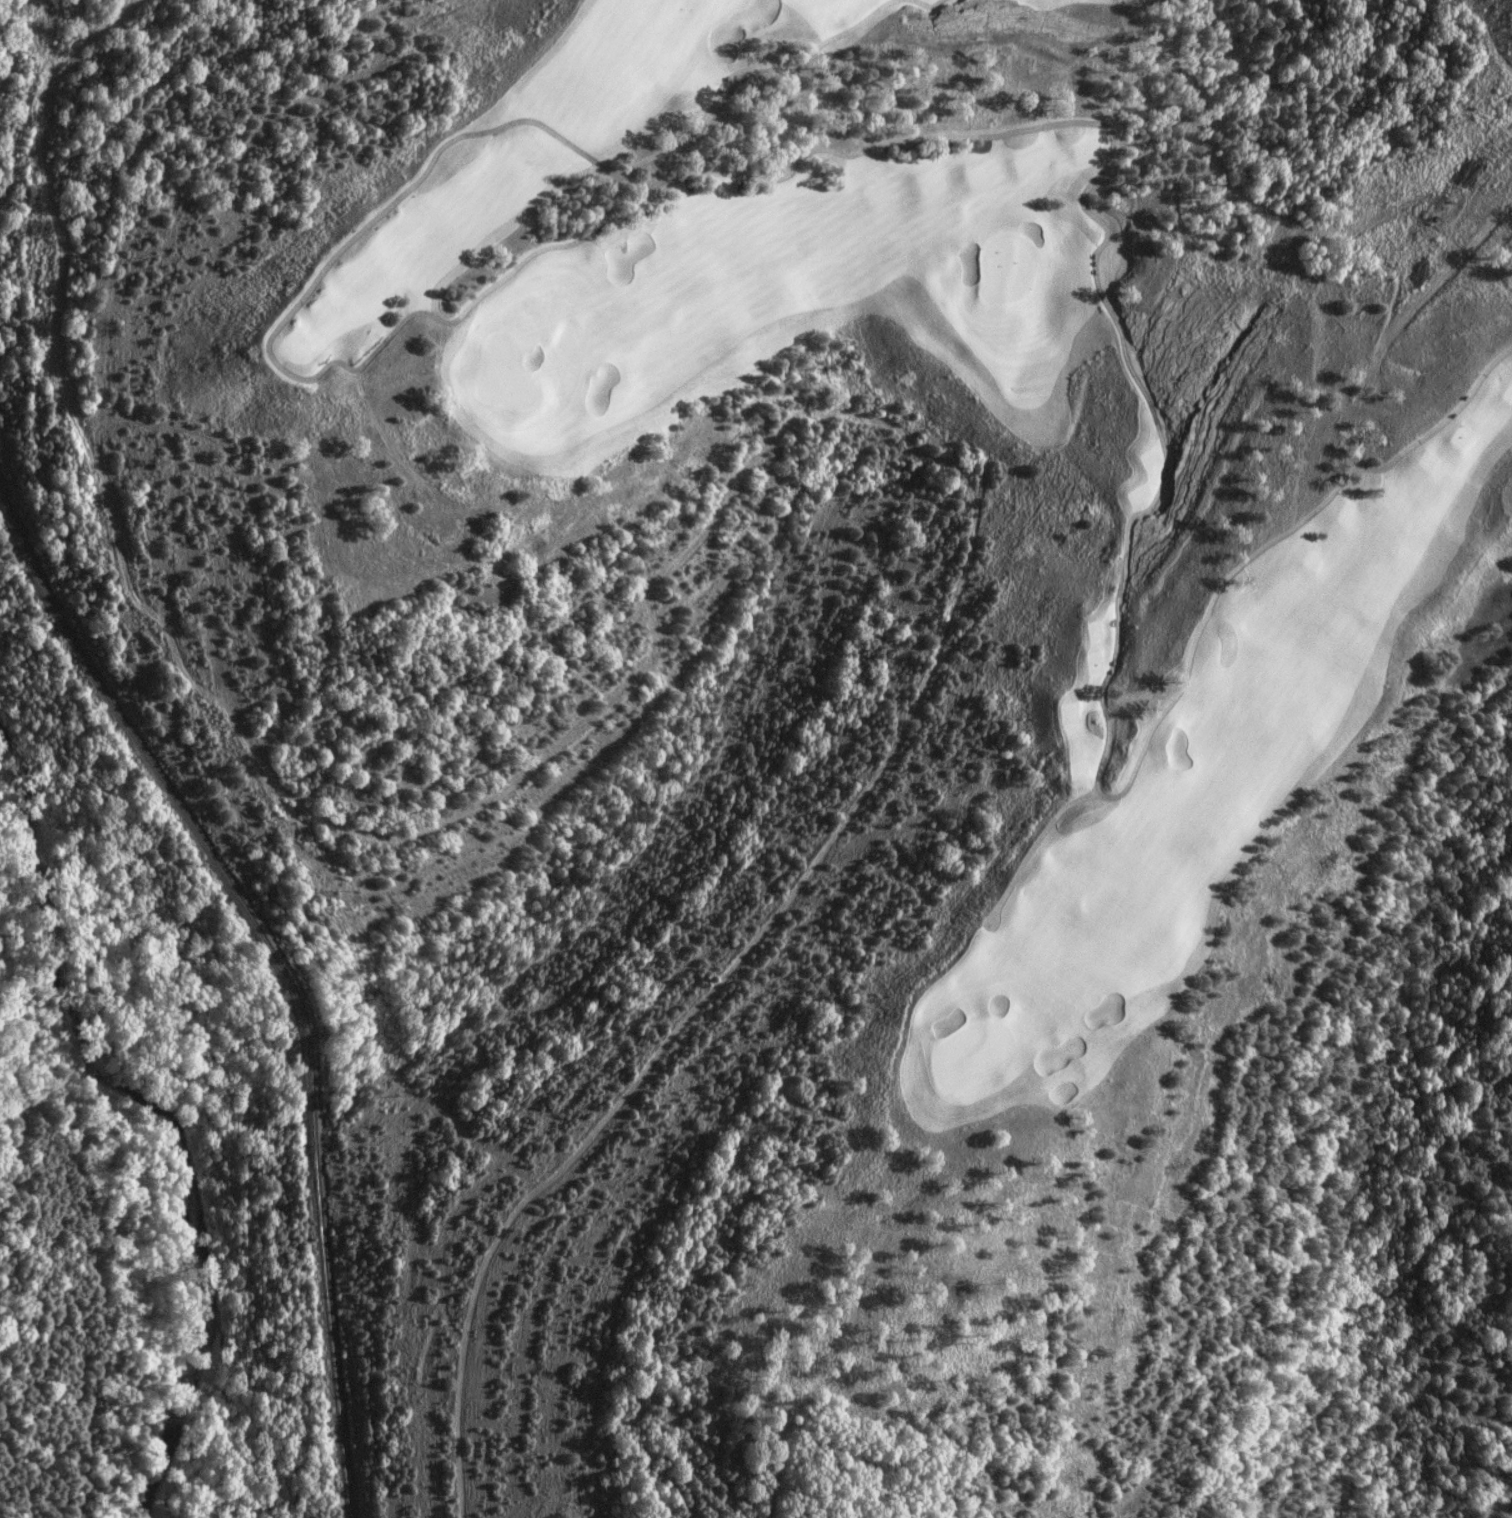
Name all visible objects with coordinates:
road: (926, 5)
road: (393, 331)
road: (1124, 533)
road: (1210, 599)
park: (864, 633)
road: (982, 927)
railway: (273, 966)

